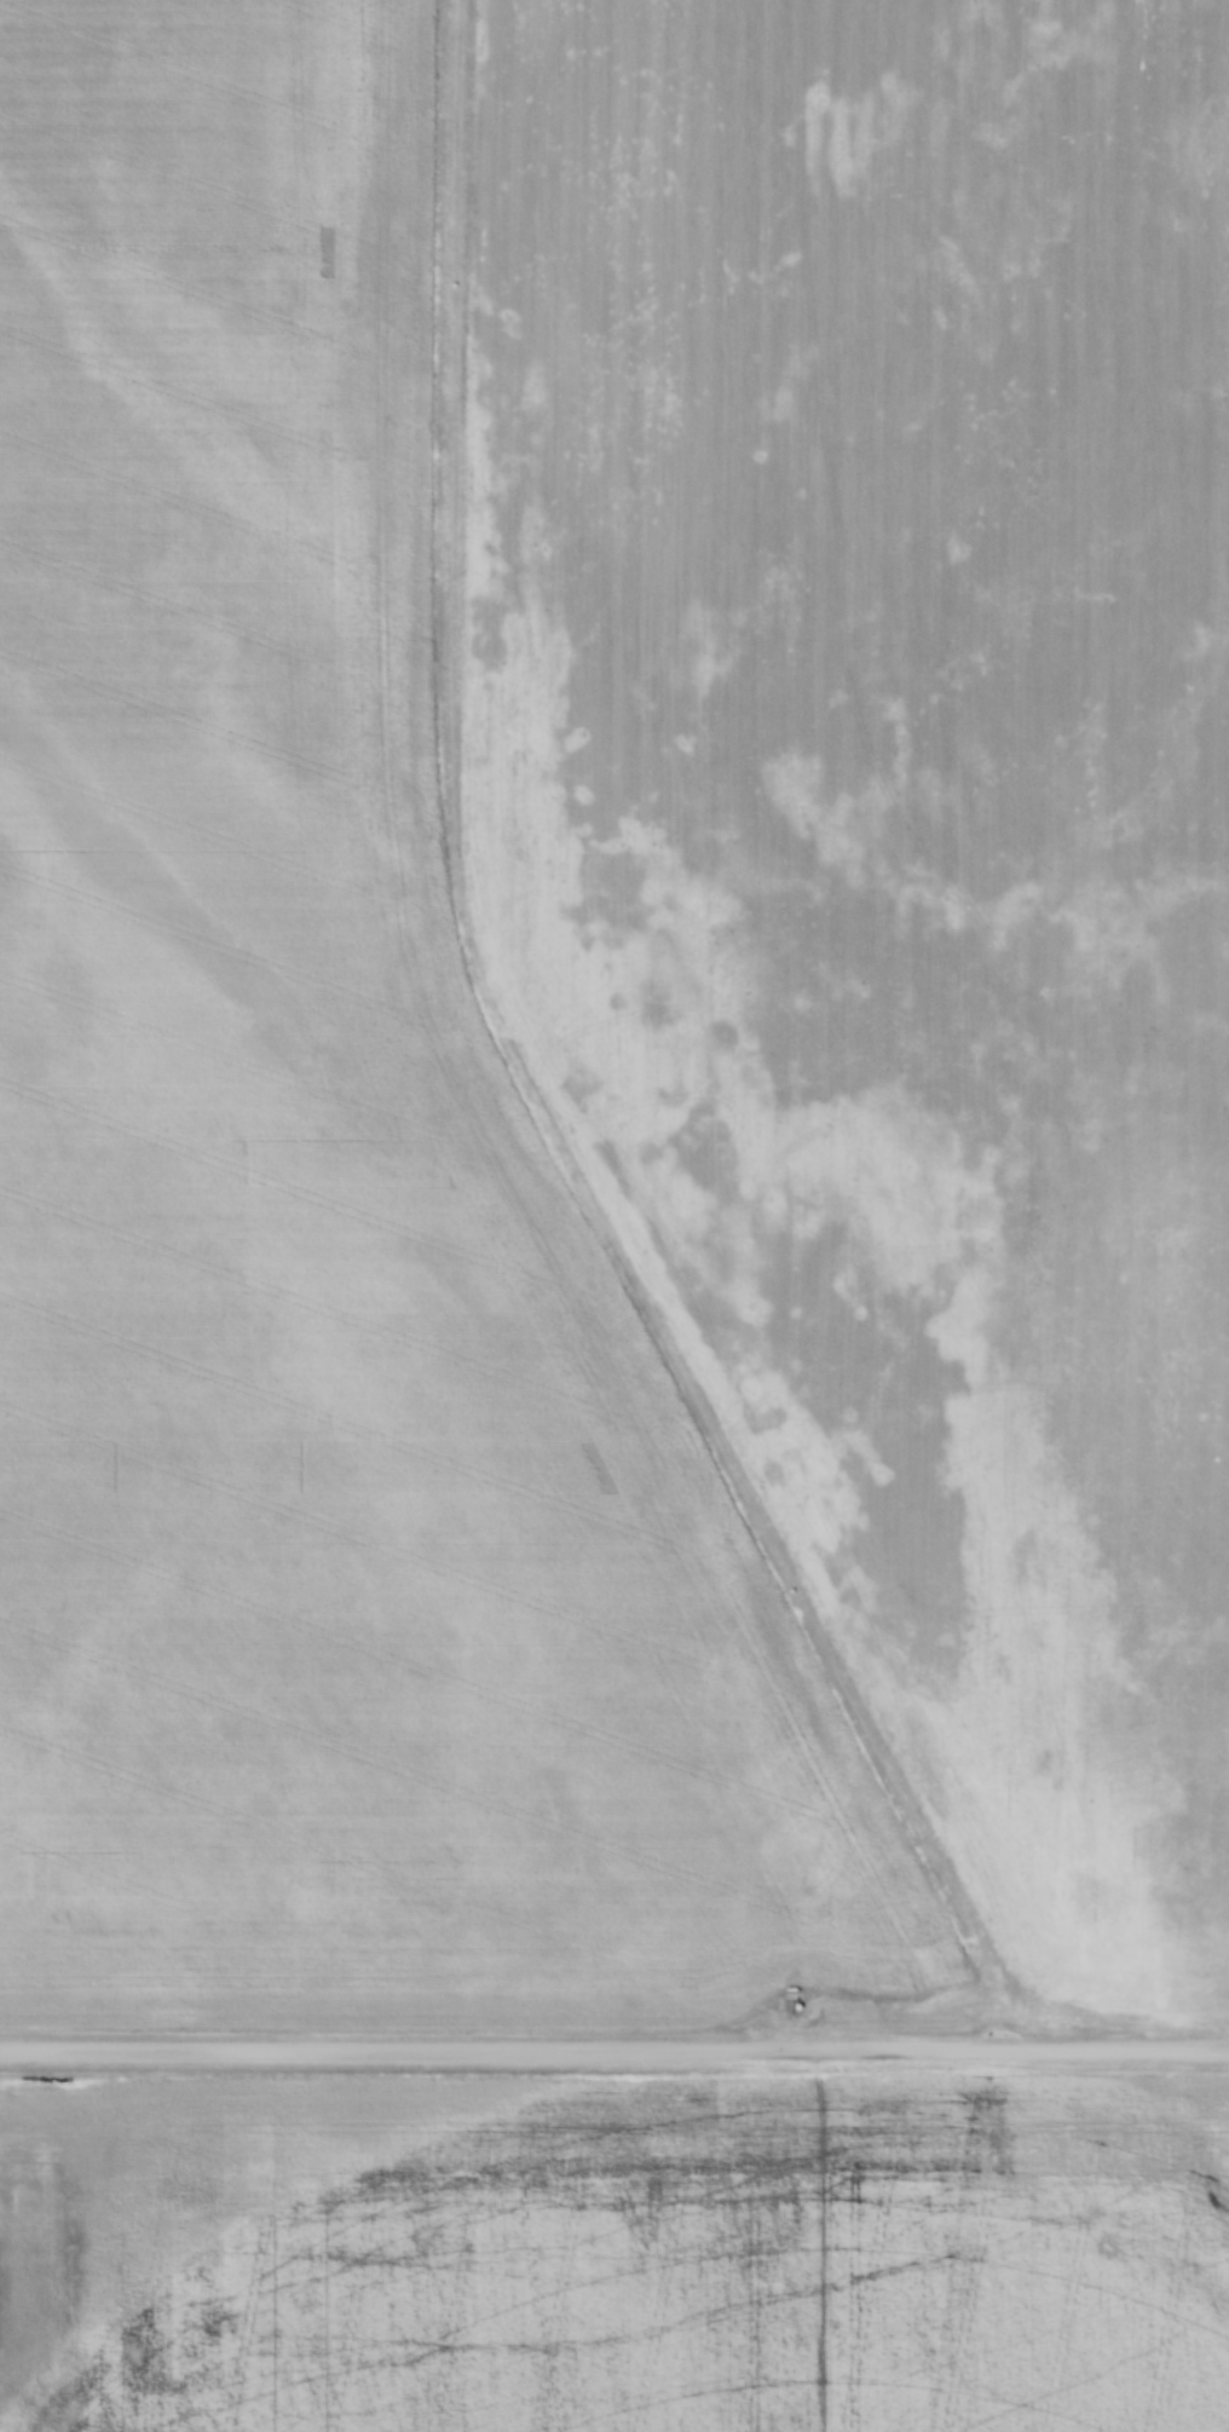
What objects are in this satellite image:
road: (614, 2058)

